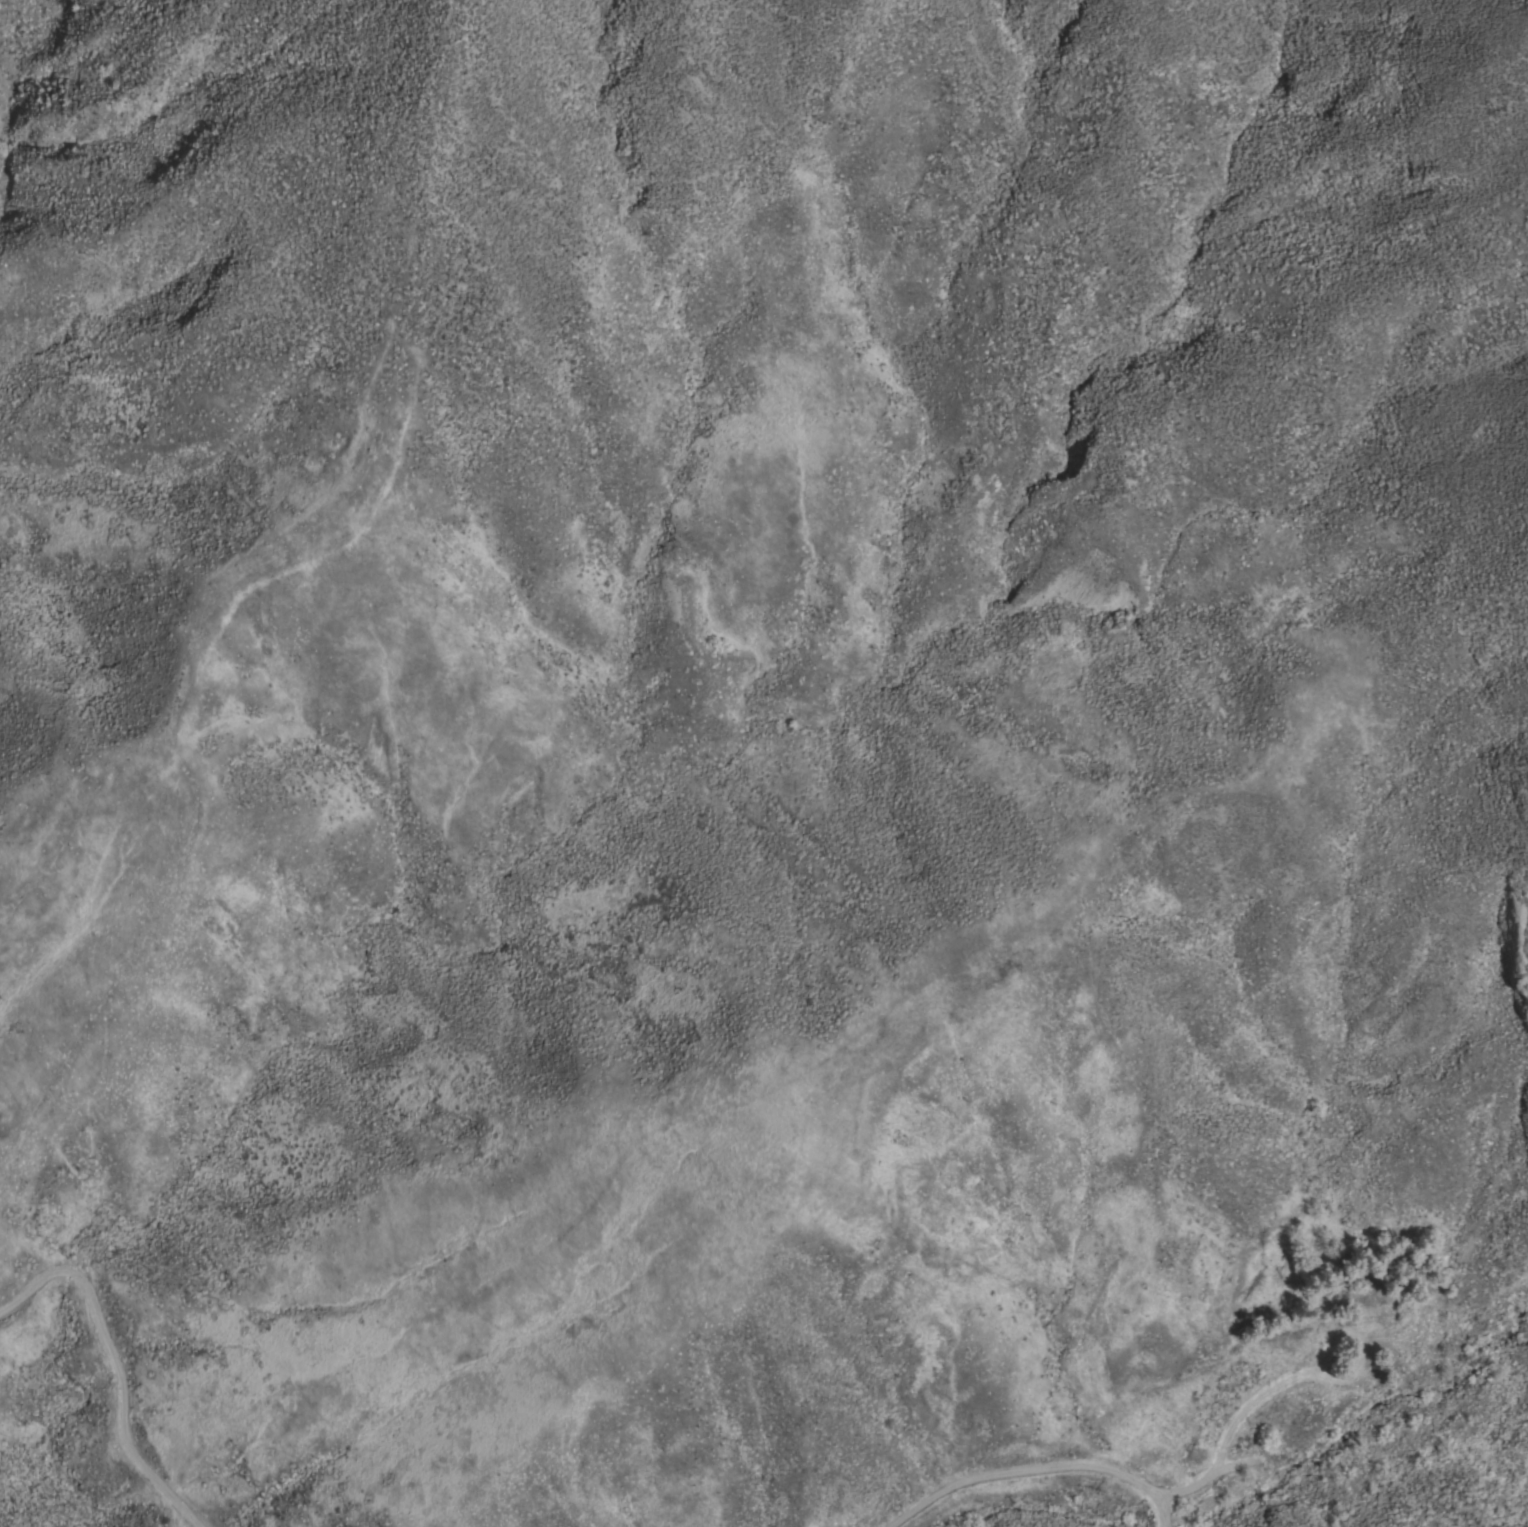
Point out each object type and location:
park: (503, 1345)
road: (110, 1368)
road: (1032, 1466)

